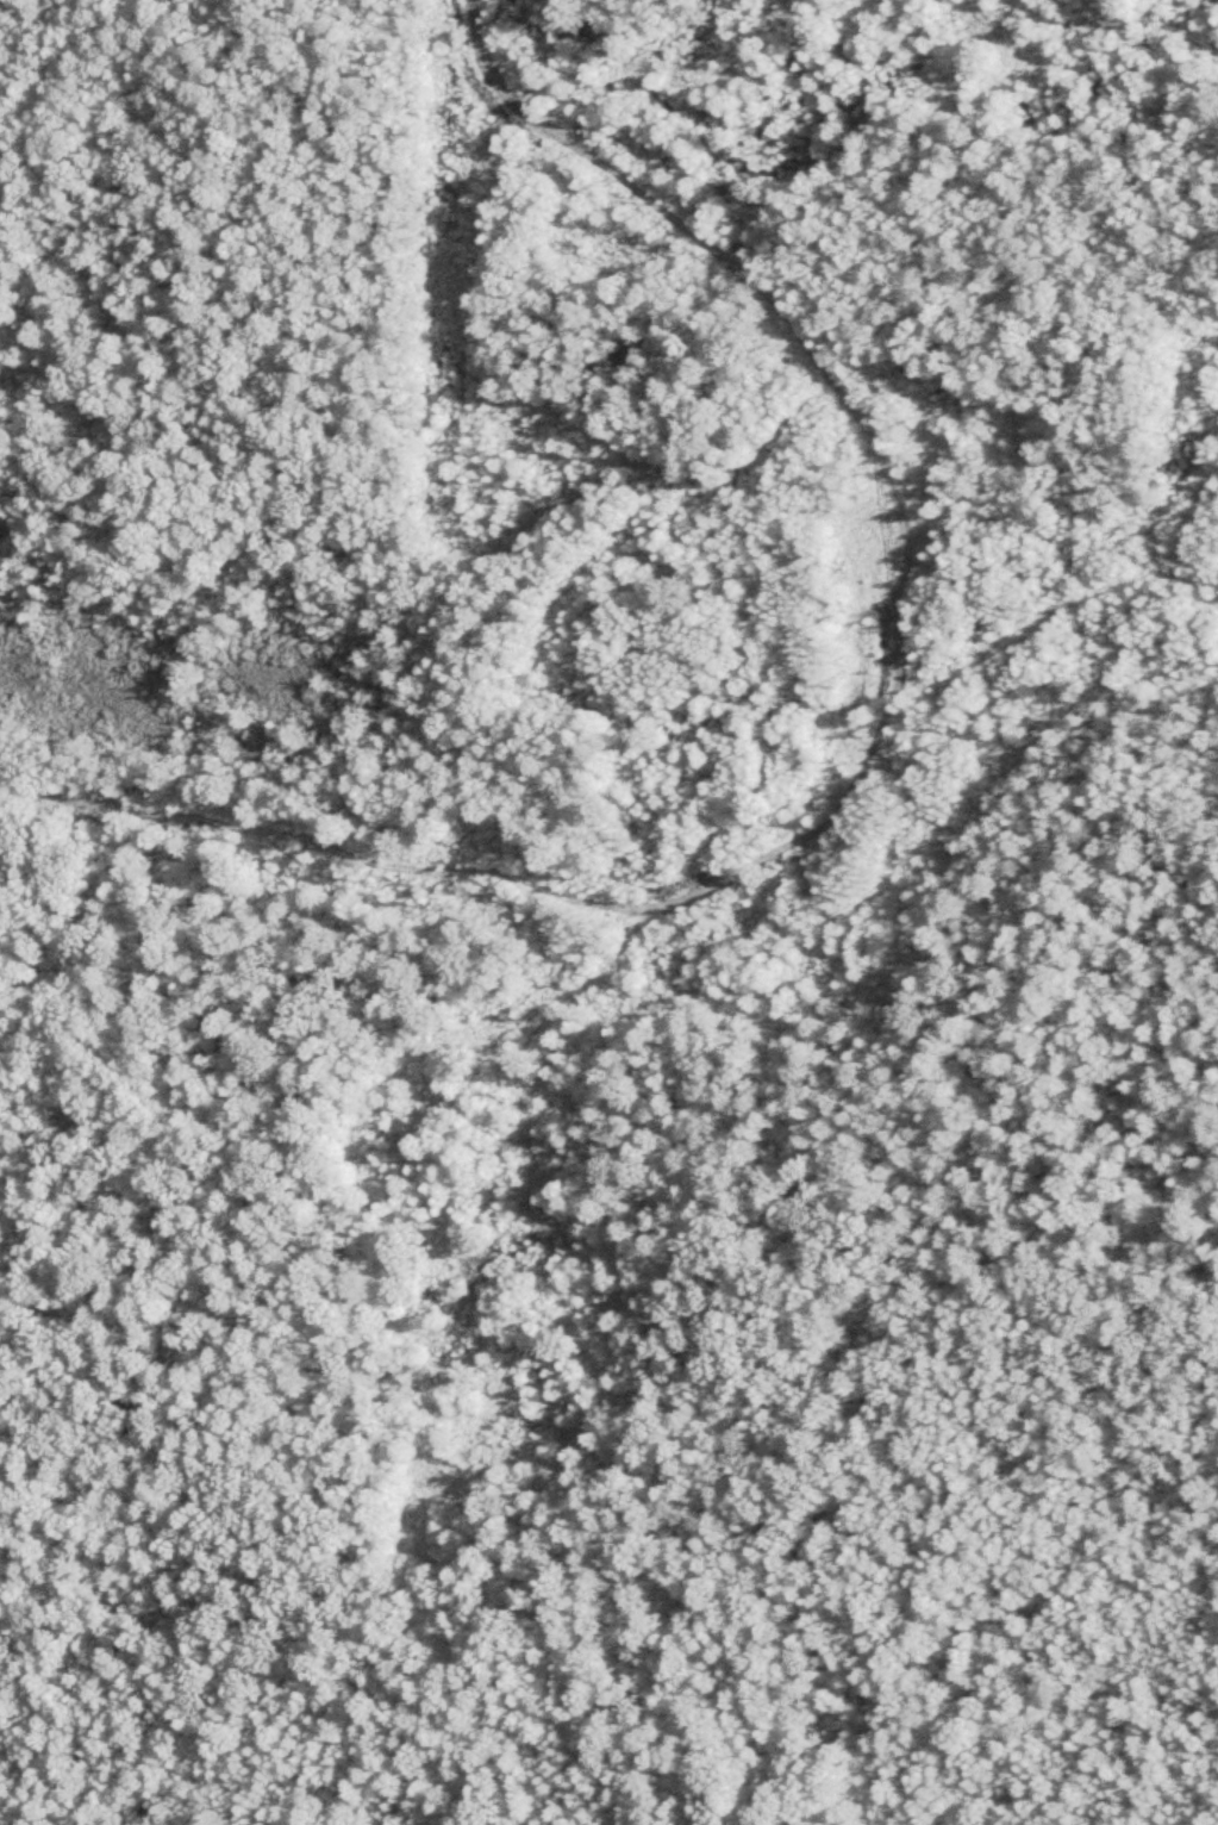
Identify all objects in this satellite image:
road: (876, 760)

